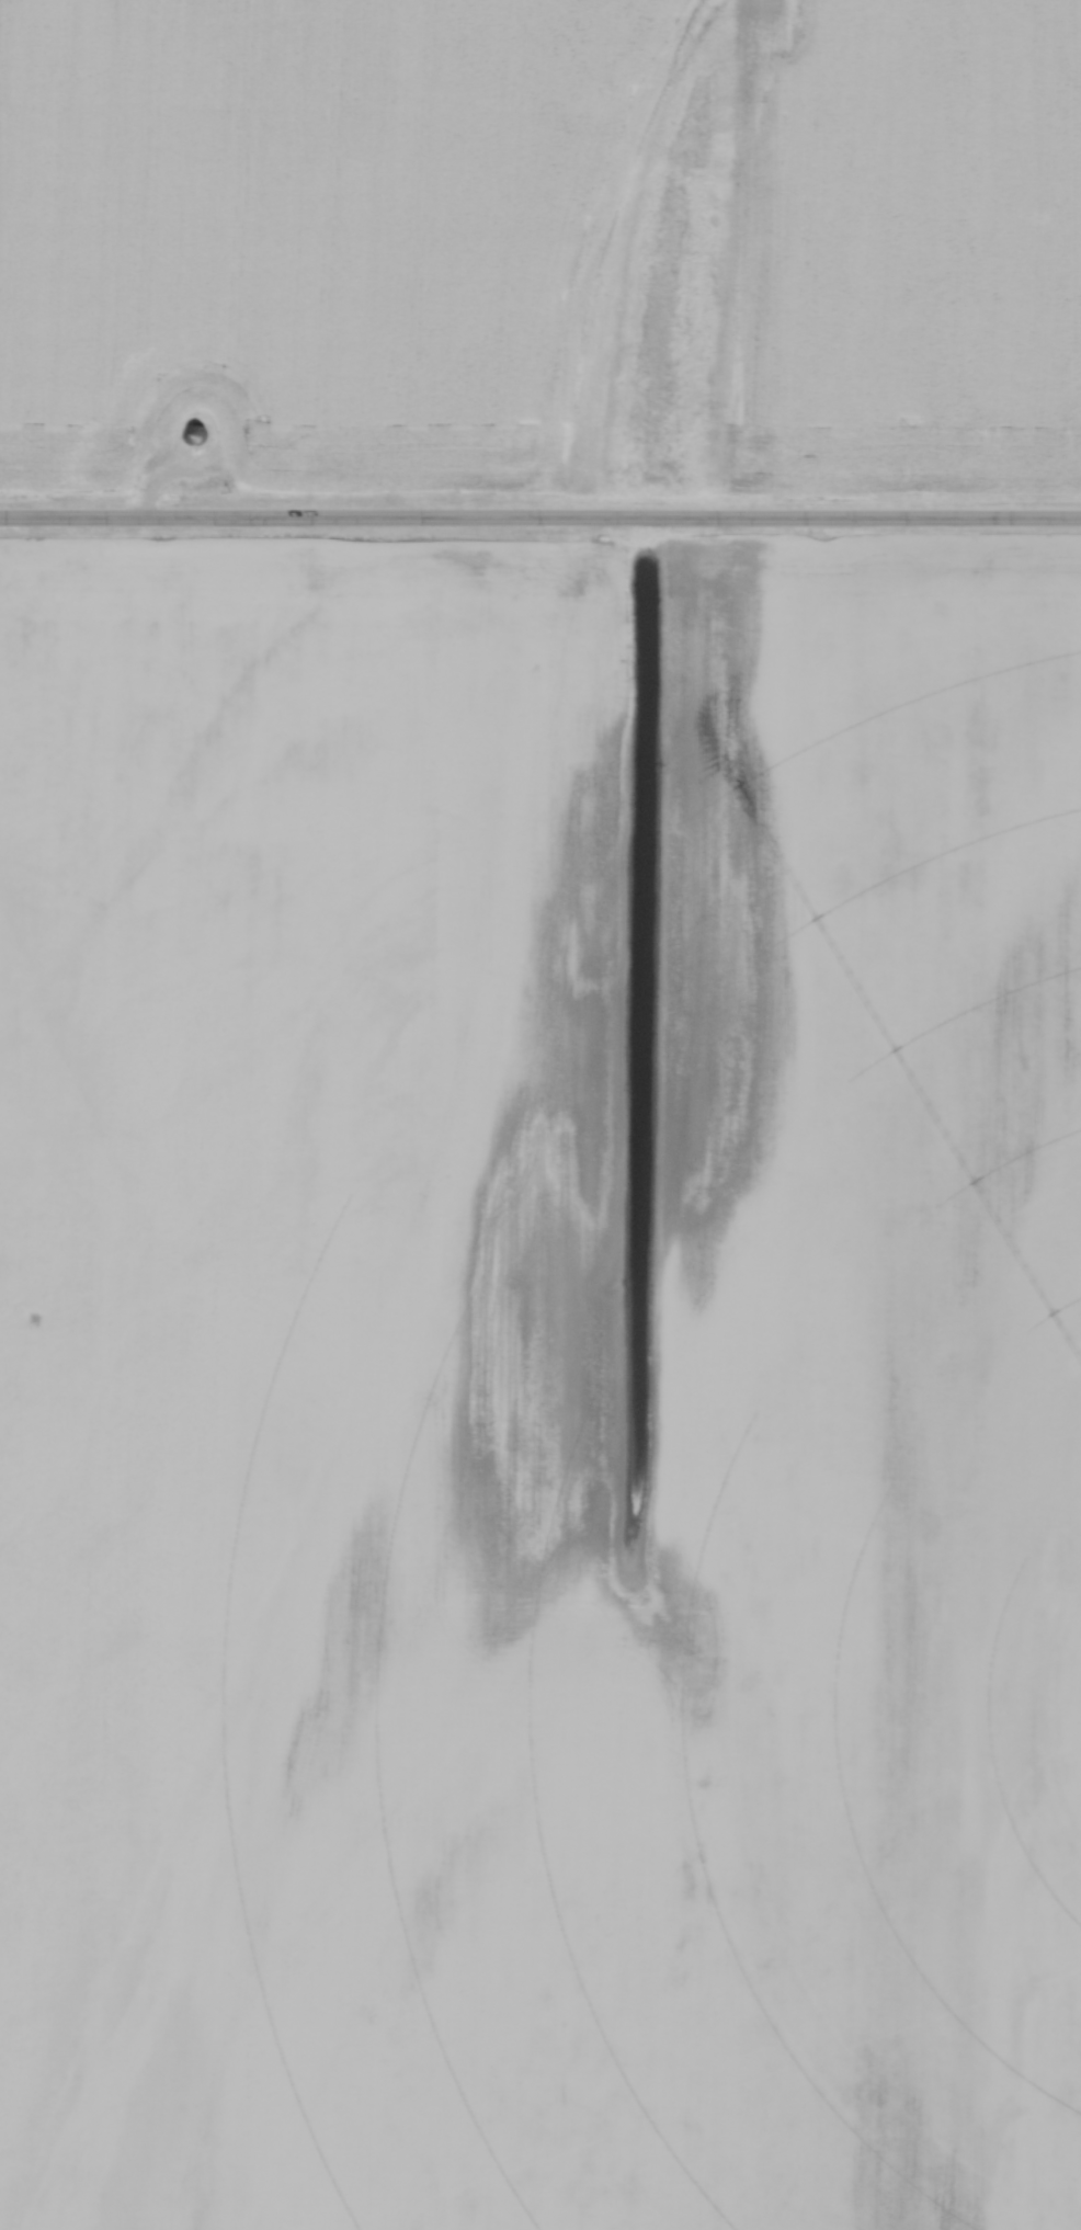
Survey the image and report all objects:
building: (190, 433)
road: (540, 524)

